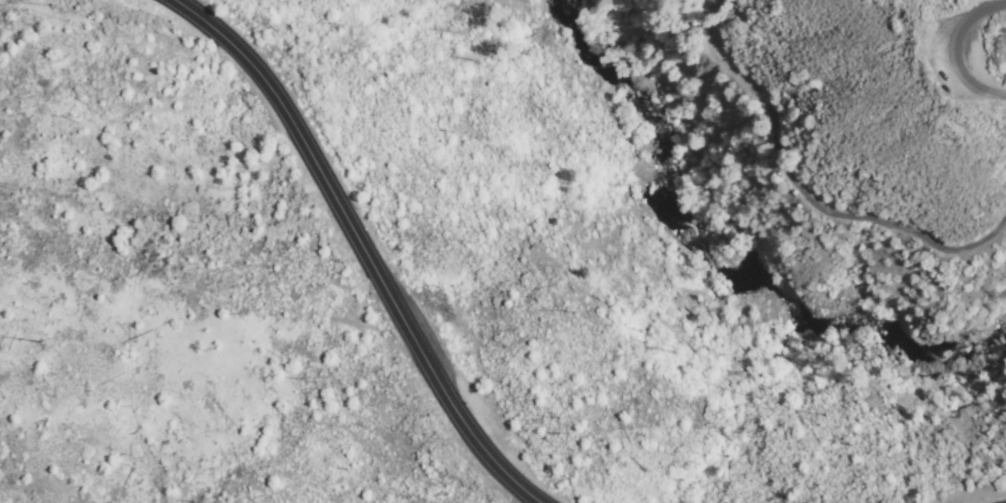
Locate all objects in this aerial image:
road: (211, 17)
road: (965, 54)
road: (806, 198)
road: (366, 241)
river: (698, 304)

